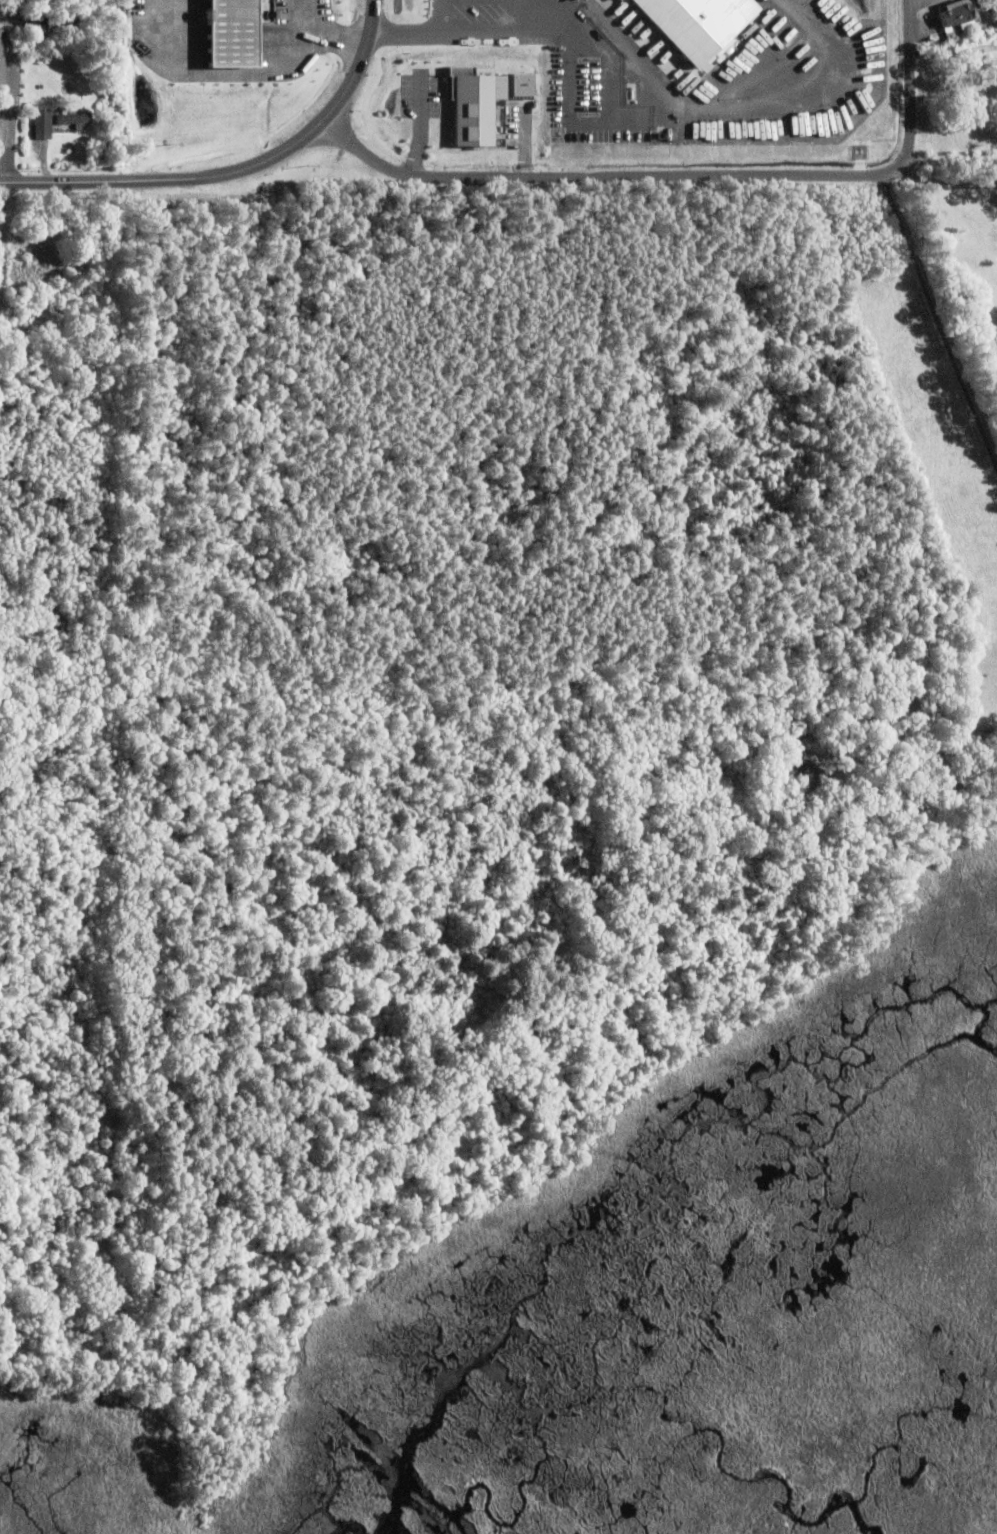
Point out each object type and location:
building: (572, 0)
road: (912, 0)
building: (956, 15)
road: (441, 19)
road: (536, 19)
building: (58, 23)
building: (681, 31)
road: (323, 33)
road: (593, 40)
road: (954, 51)
building: (2, 55)
road: (362, 64)
road: (12, 90)
building: (468, 108)
building: (73, 118)
building: (42, 122)
road: (950, 163)
road: (690, 174)
road: (171, 178)
road: (945, 183)
road: (939, 319)

